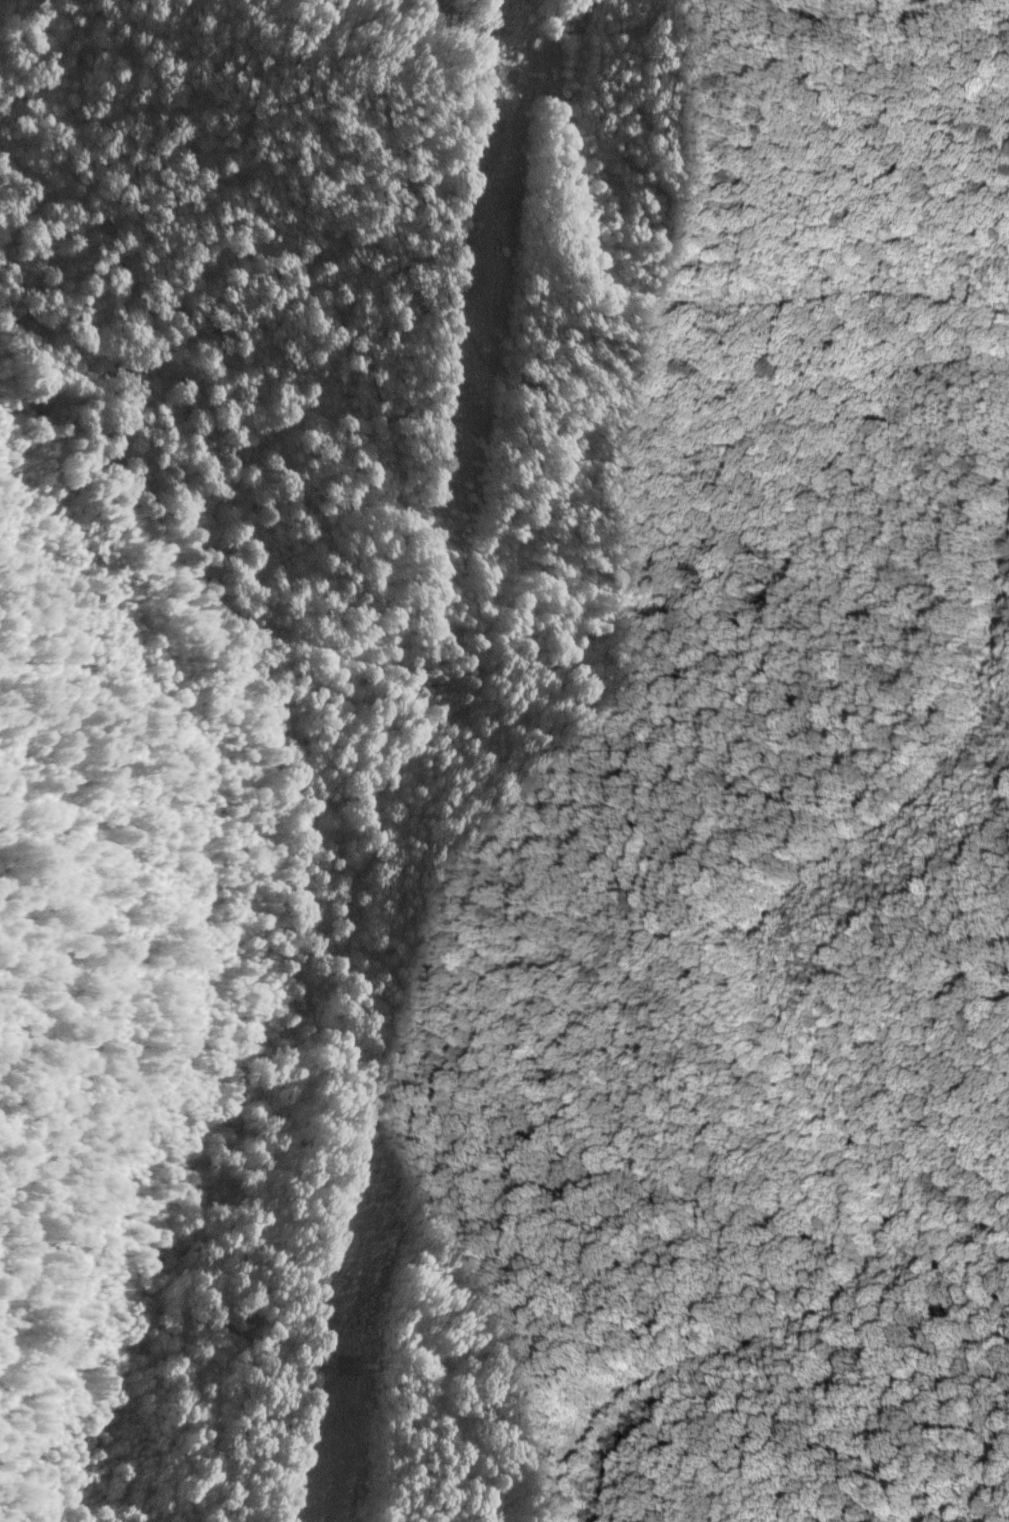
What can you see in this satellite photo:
power tower: (511, 76)
power tower: (347, 1364)

